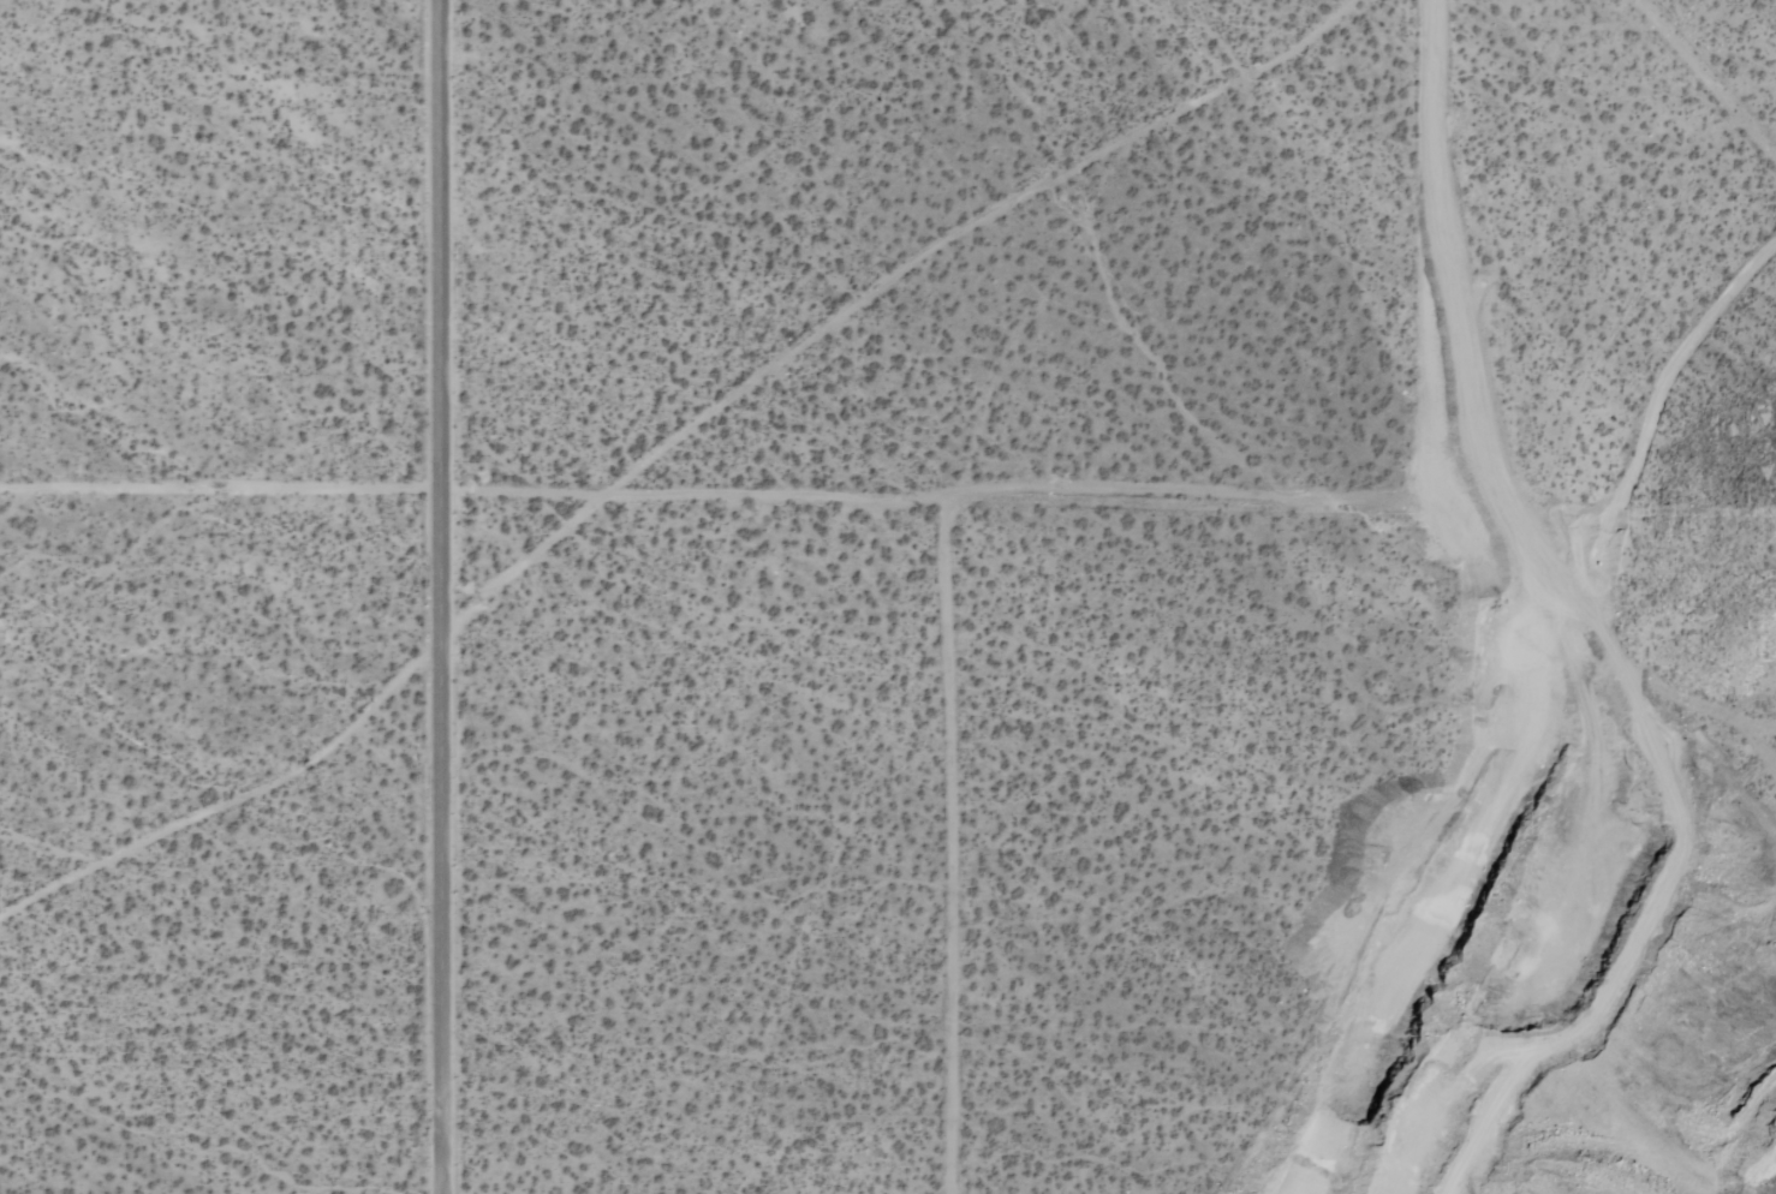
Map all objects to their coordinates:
road: (1428, 250)
road: (714, 489)
road: (437, 597)
quarry: (1569, 711)

